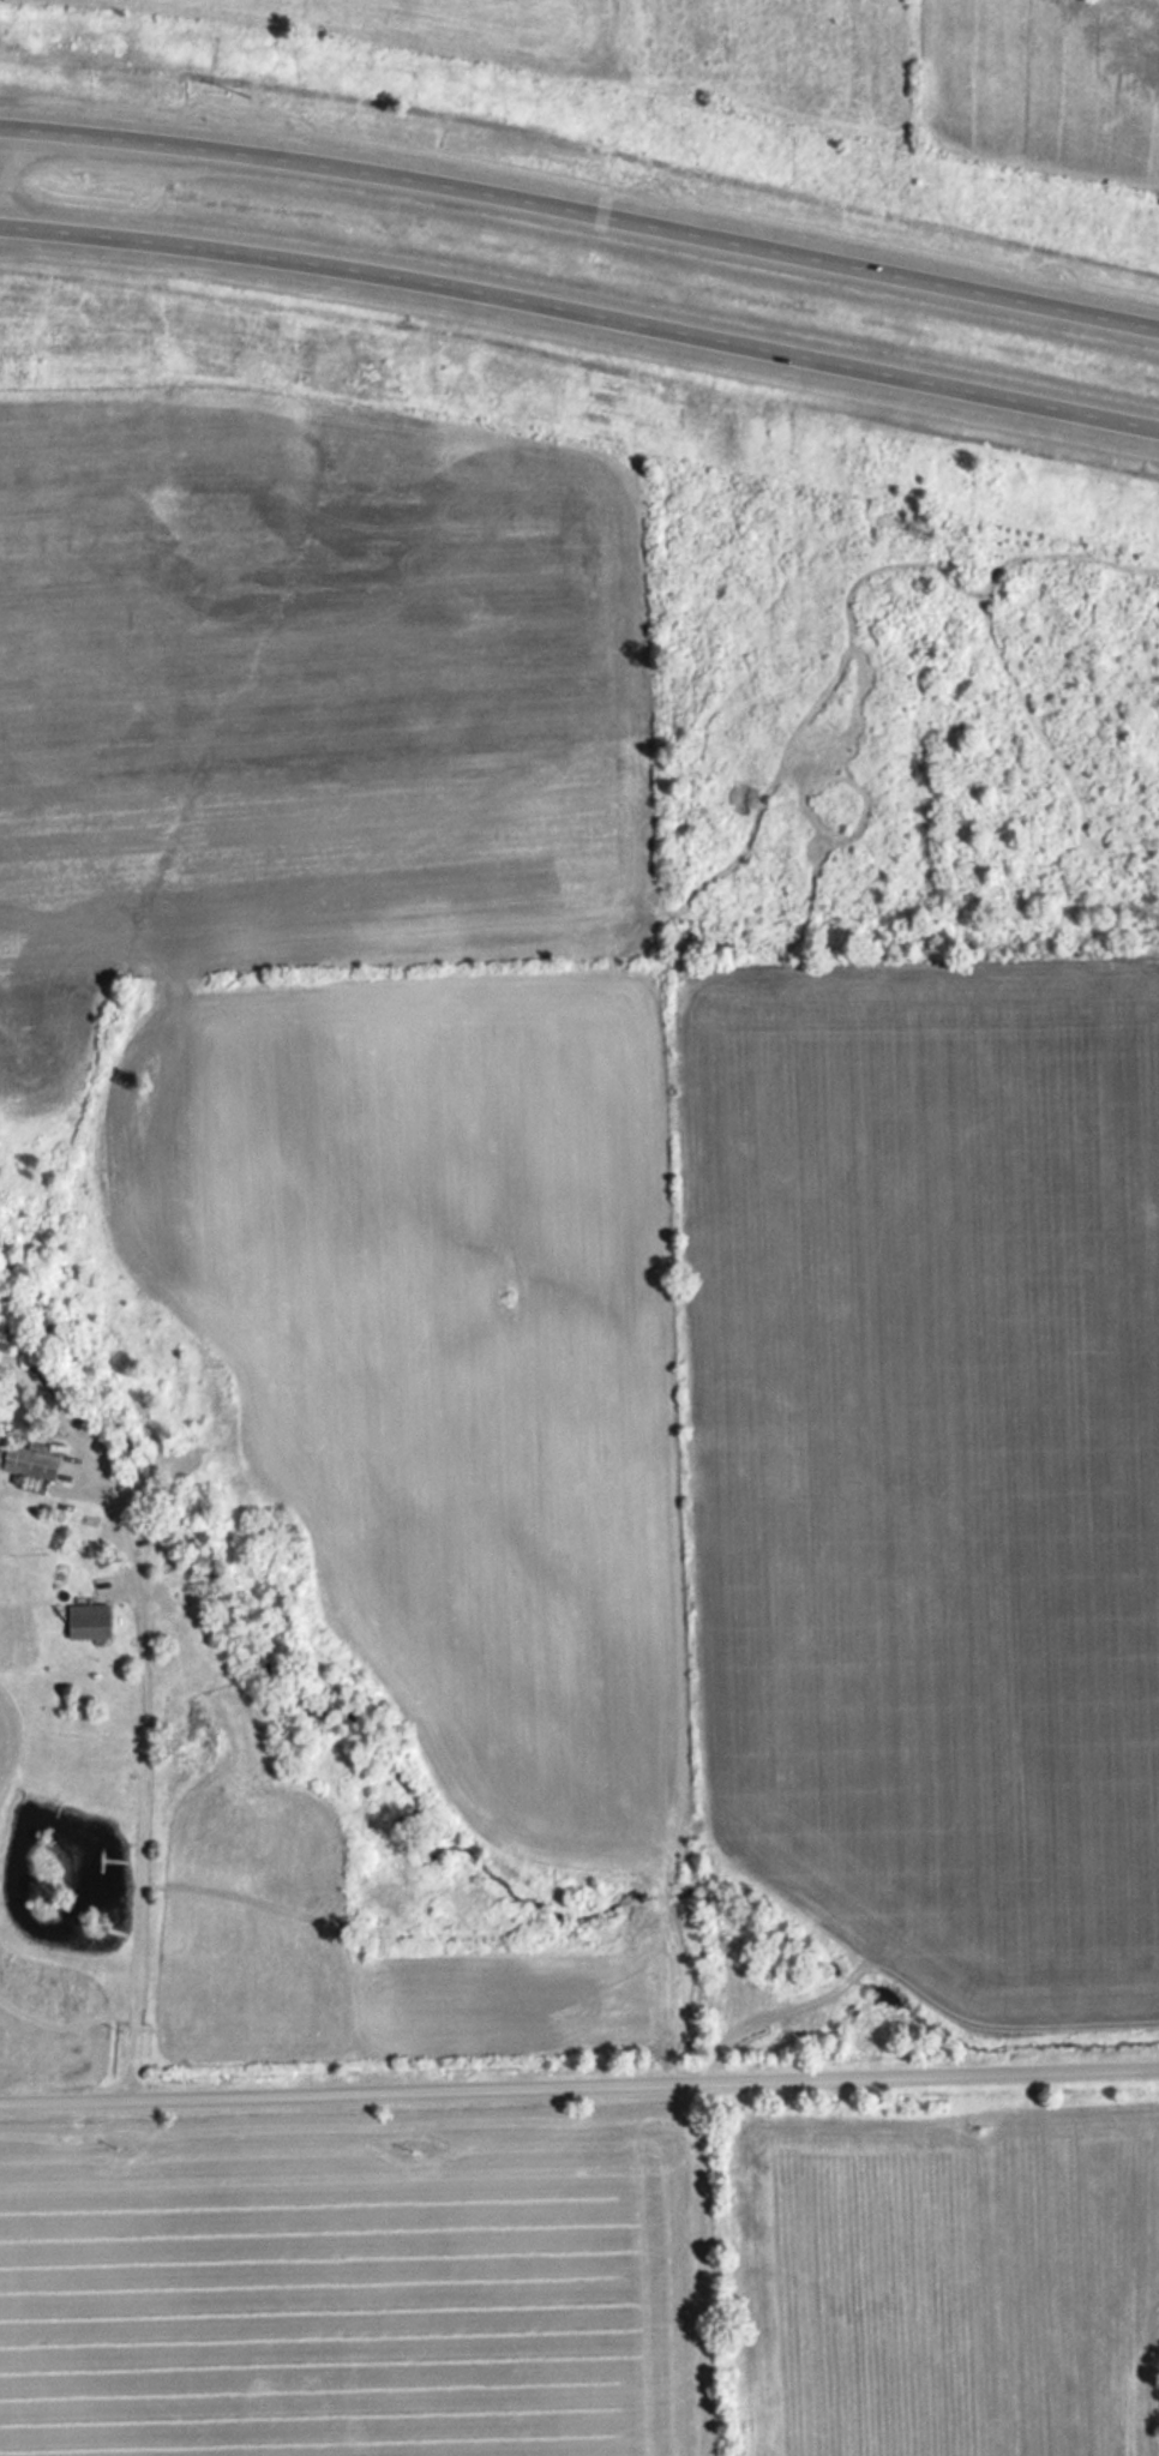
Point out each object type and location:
road: (582, 202)
road: (581, 311)
building: (34, 1461)
building: (92, 1626)
road: (139, 1825)
road: (579, 2085)

